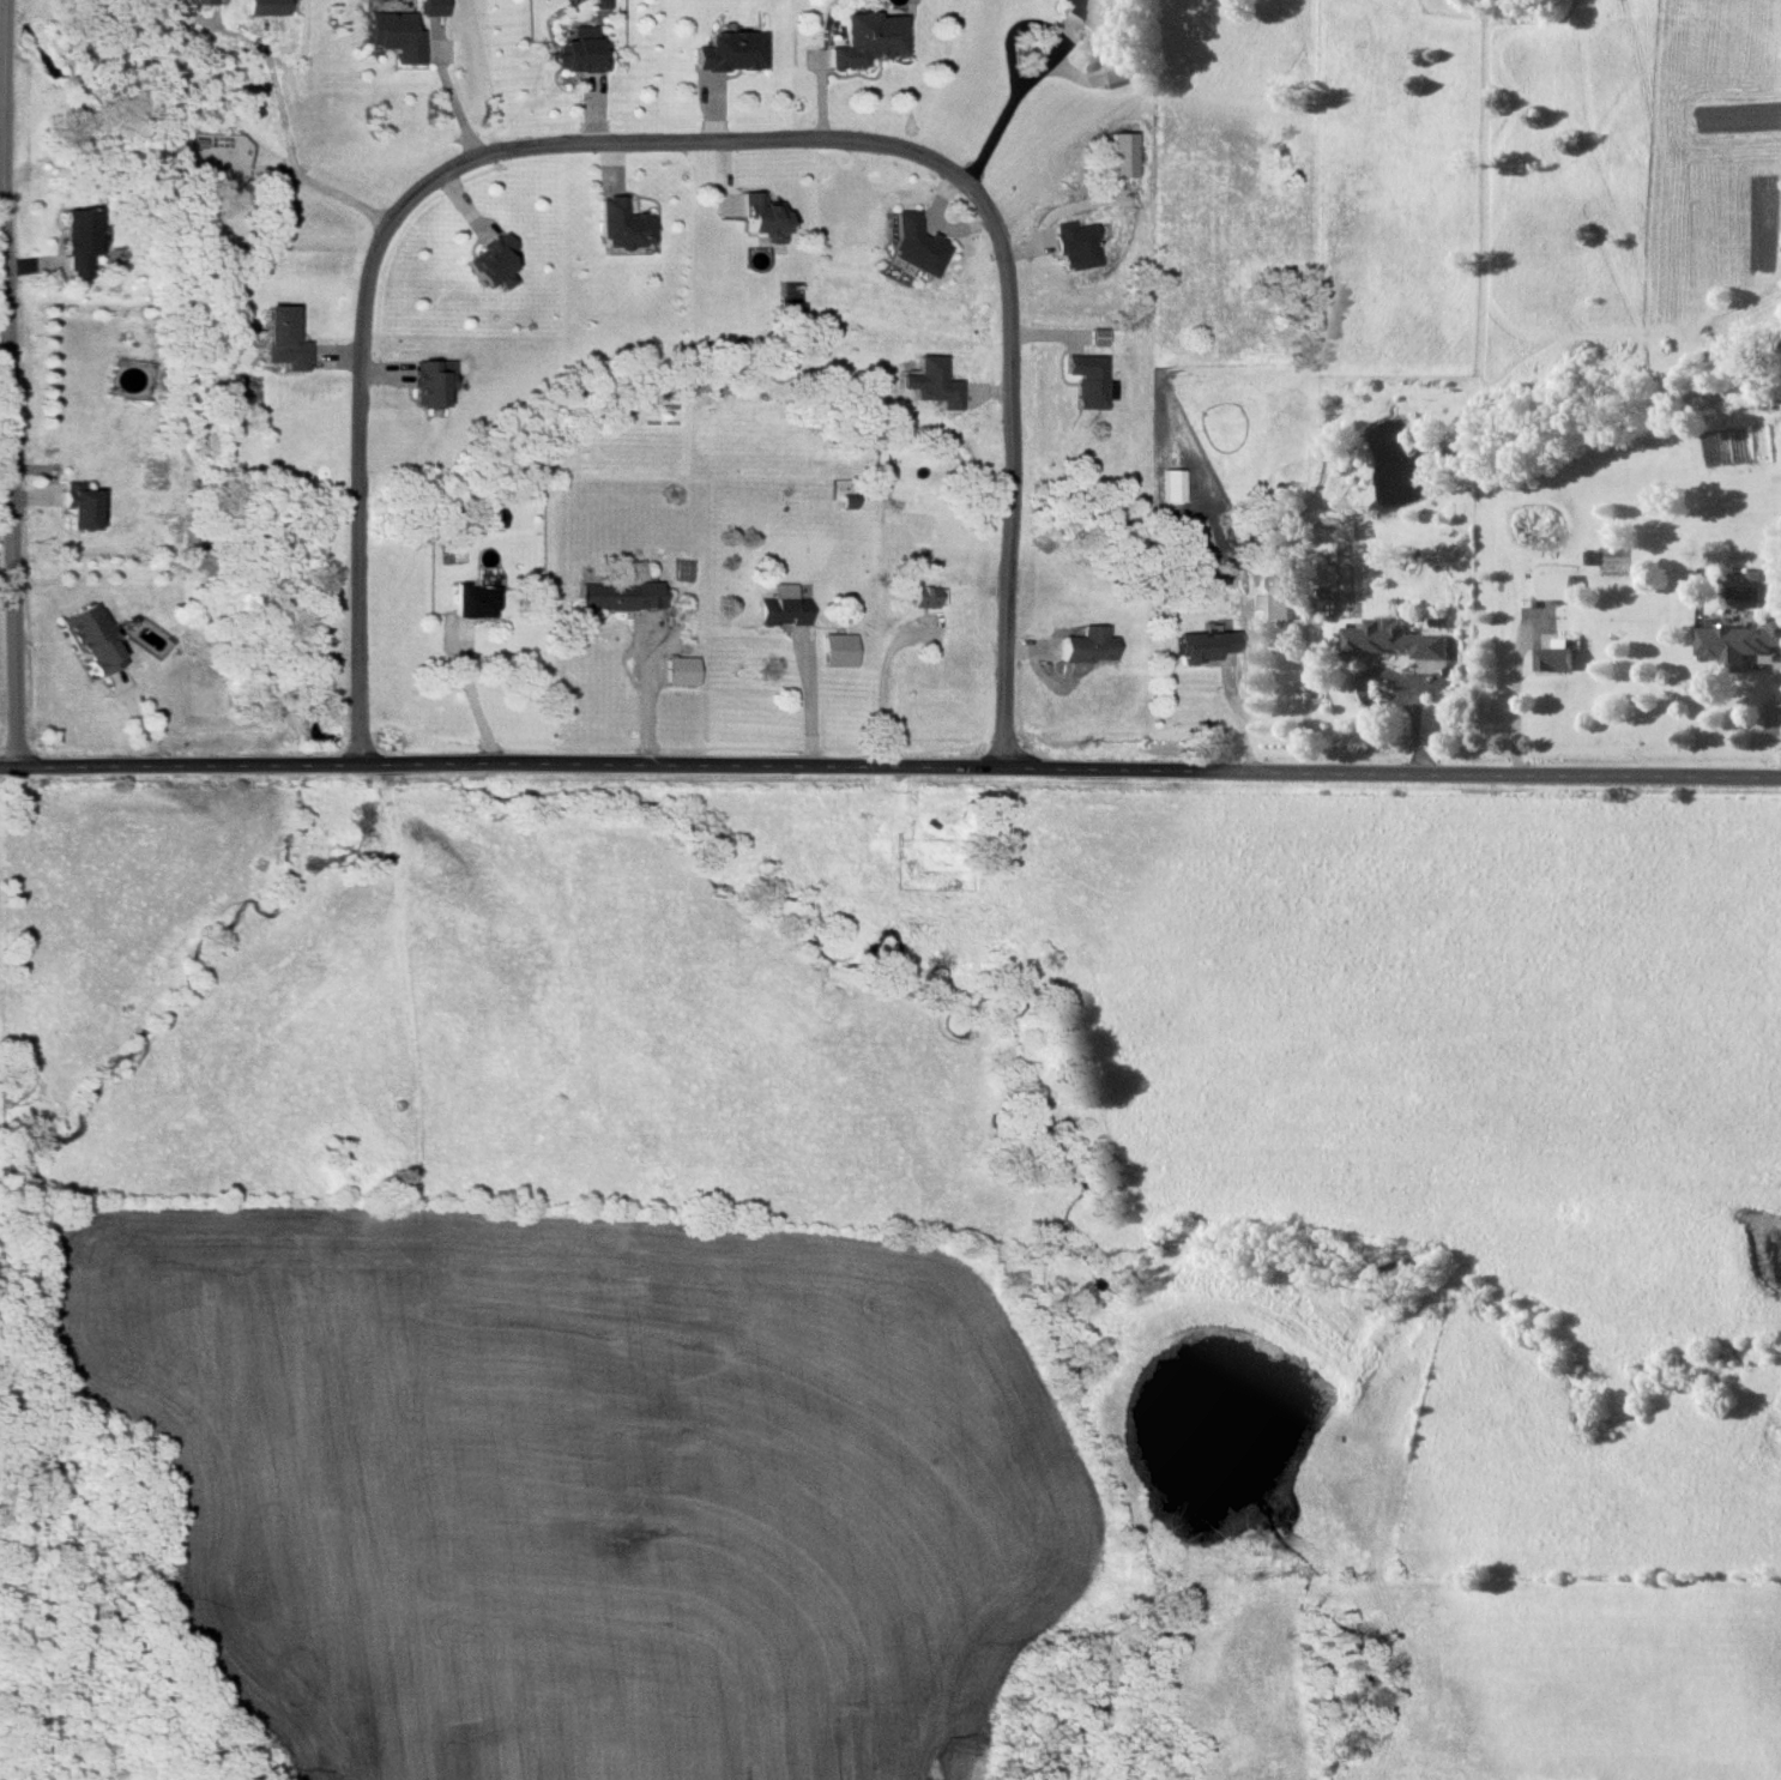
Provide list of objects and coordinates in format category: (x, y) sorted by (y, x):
building: (192, 1)
building: (598, 4)
building: (265, 7)
building: (429, 7)
building: (1080, 12)
building: (391, 35)
building: (864, 38)
building: (578, 52)
building: (726, 52)
building: (1111, 71)
road: (452, 99)
road: (277, 104)
road: (1004, 108)
road: (690, 133)
building: (757, 217)
building: (616, 224)
building: (74, 241)
building: (1073, 245)
building: (910, 247)
building: (487, 263)
building: (1094, 337)
building: (279, 338)
building: (1085, 380)
building: (428, 381)
building: (925, 382)
road: (17, 466)
building: (1166, 484)
building: (77, 505)
building: (1332, 572)
building: (1557, 585)
building: (1279, 593)
building: (617, 595)
building: (920, 596)
building: (470, 601)
building: (774, 603)
building: (1326, 607)
building: (90, 638)
building: (1396, 639)
building: (1739, 642)
building: (1082, 645)
building: (1197, 646)
building: (834, 648)
building: (1558, 656)
road: (1779, 666)
building: (677, 670)
road: (873, 683)
road: (645, 698)
road: (472, 699)
road: (807, 704)
road: (1246, 712)
road: (1516, 714)
road: (889, 771)

